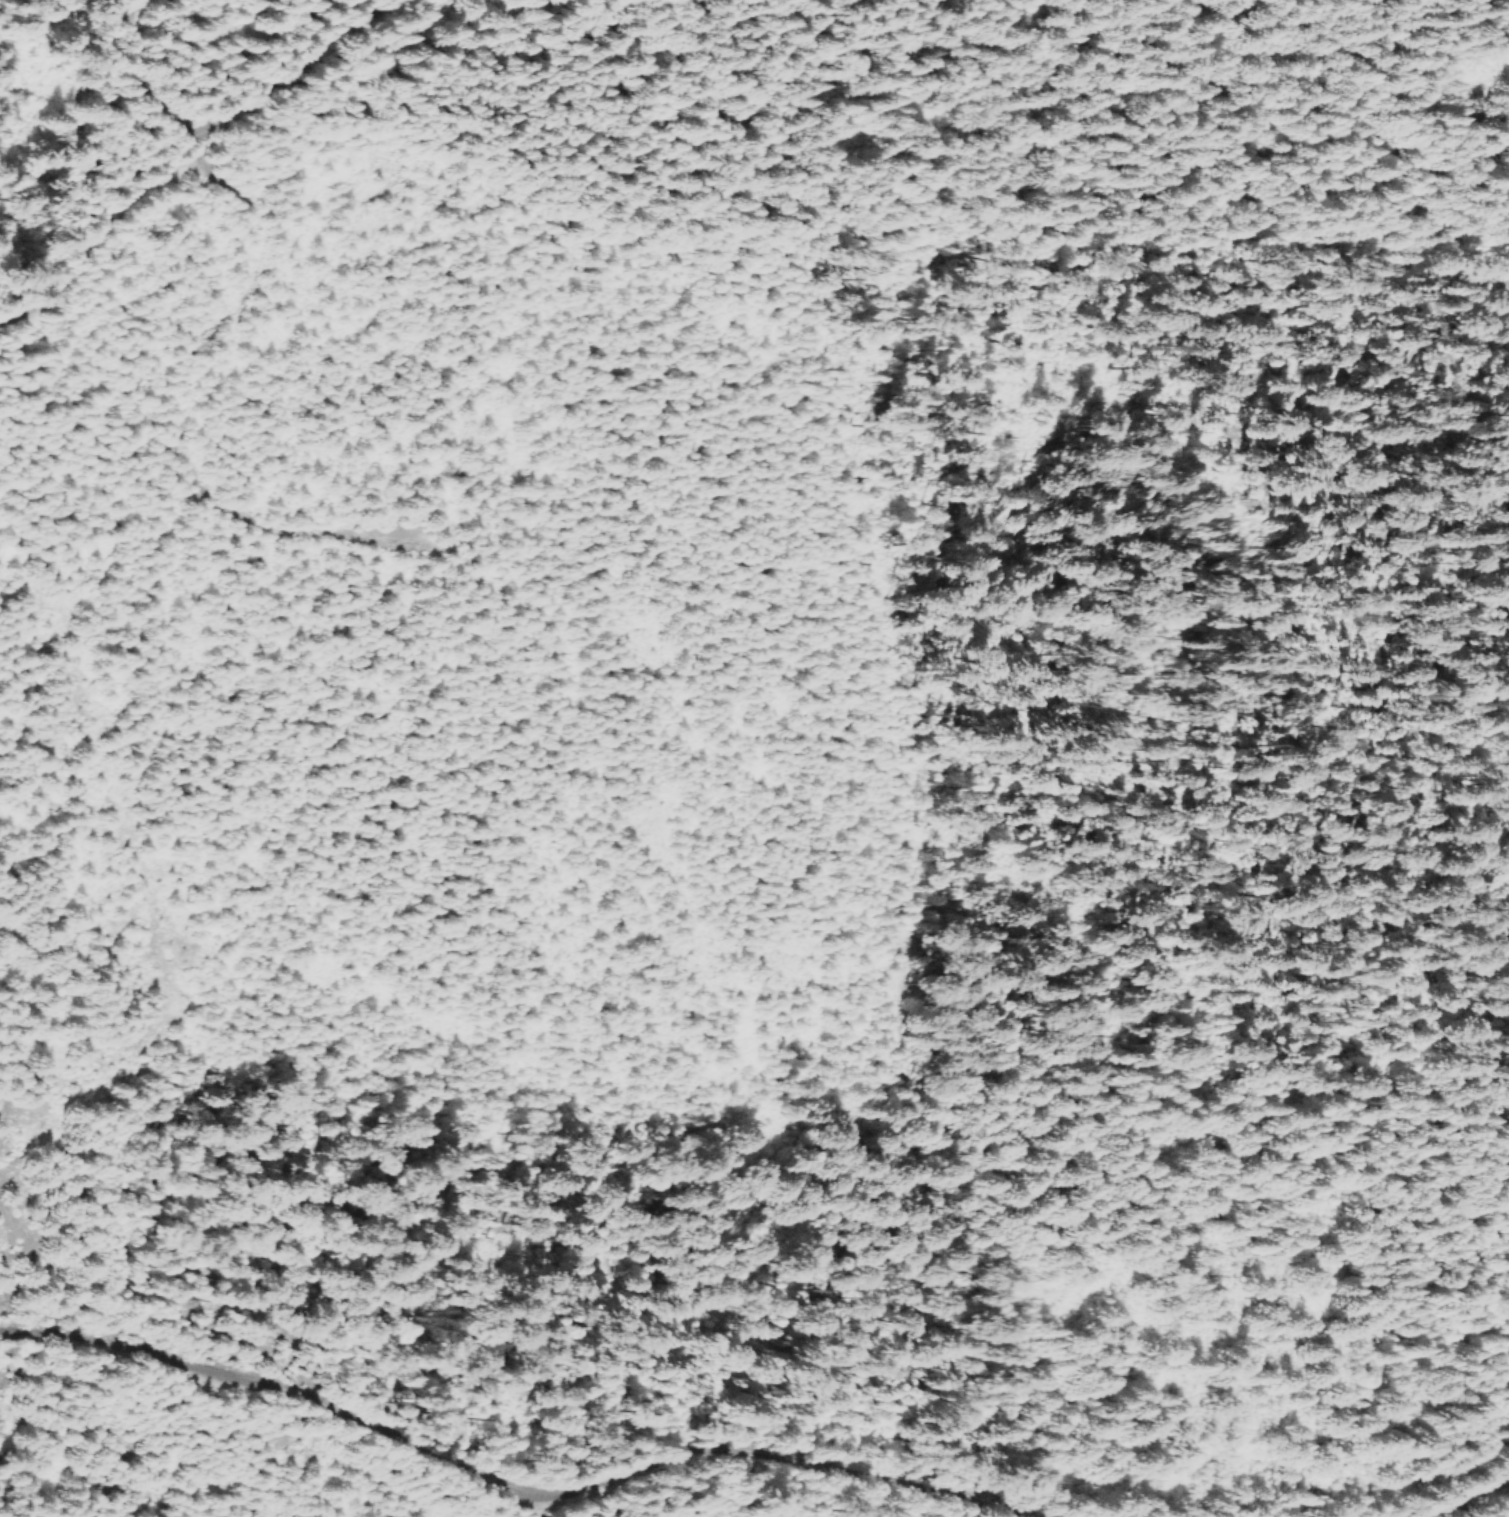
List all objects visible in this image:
road: (232, 111)
road: (107, 223)
road: (511, 1490)
road: (1463, 1499)

